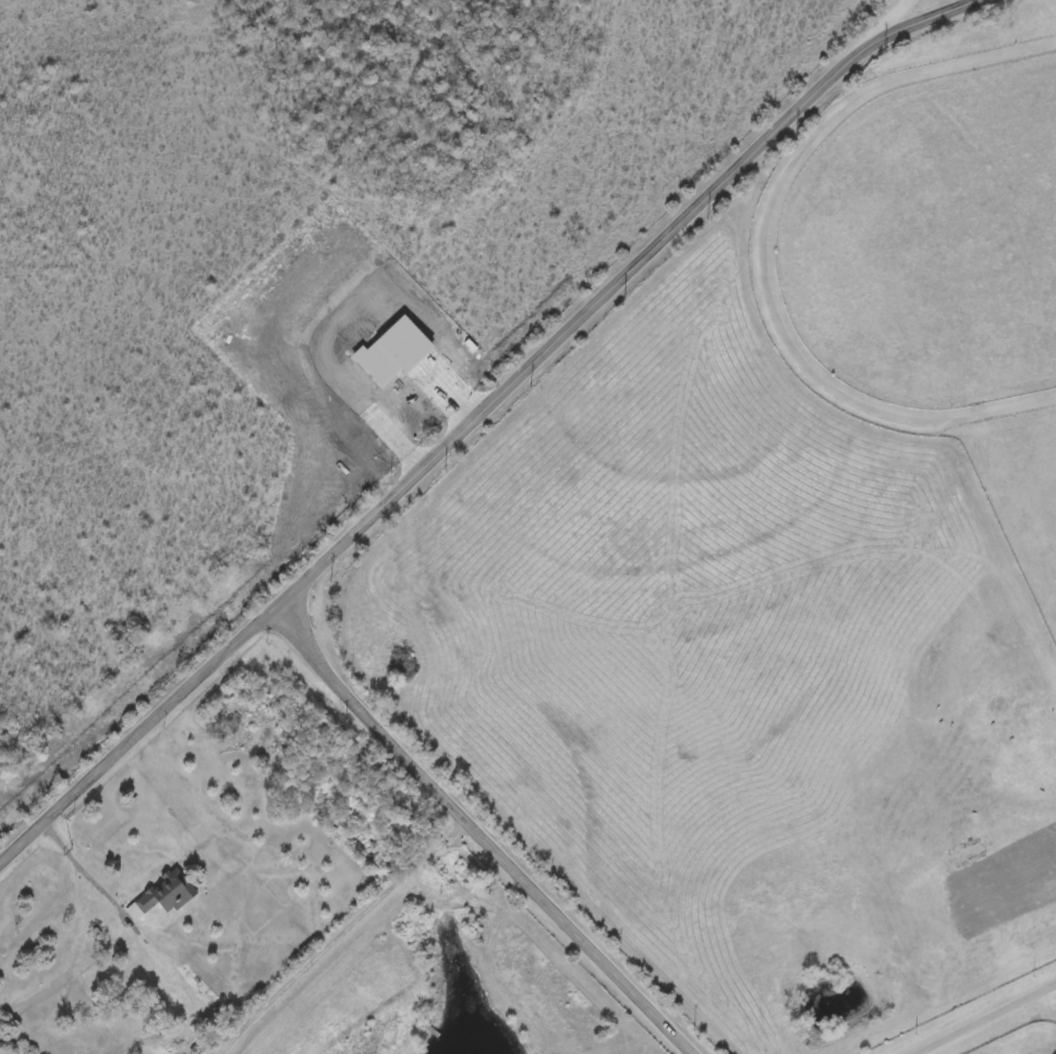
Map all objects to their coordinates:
road: (890, 19)
road: (476, 413)
road: (471, 835)
road: (85, 868)
building: (163, 897)
road: (337, 934)
road: (983, 1019)

